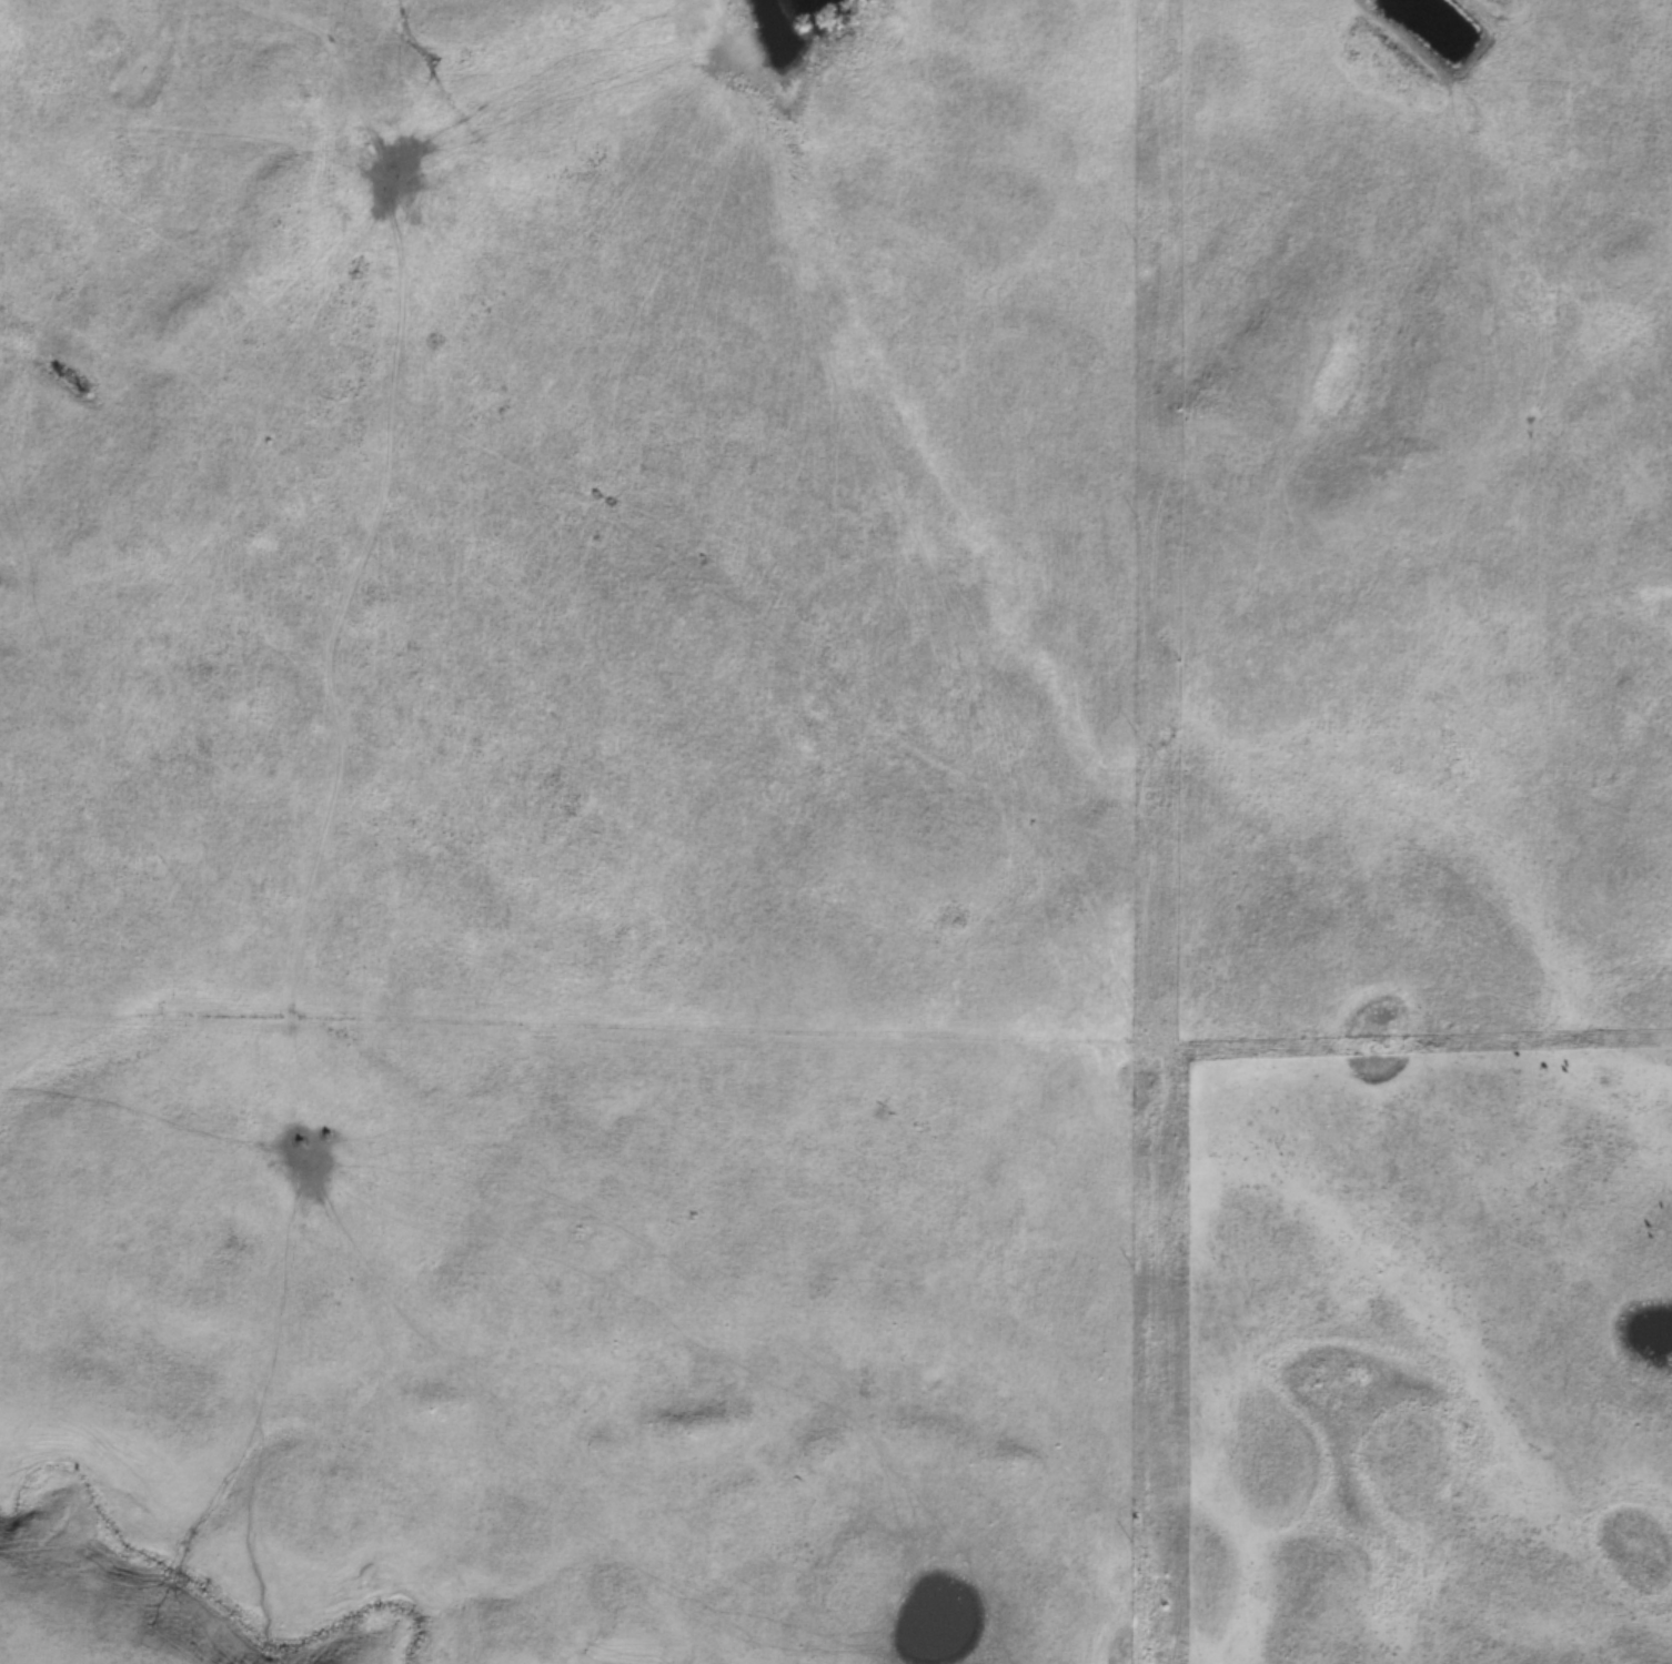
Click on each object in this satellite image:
road: (836, 1046)

